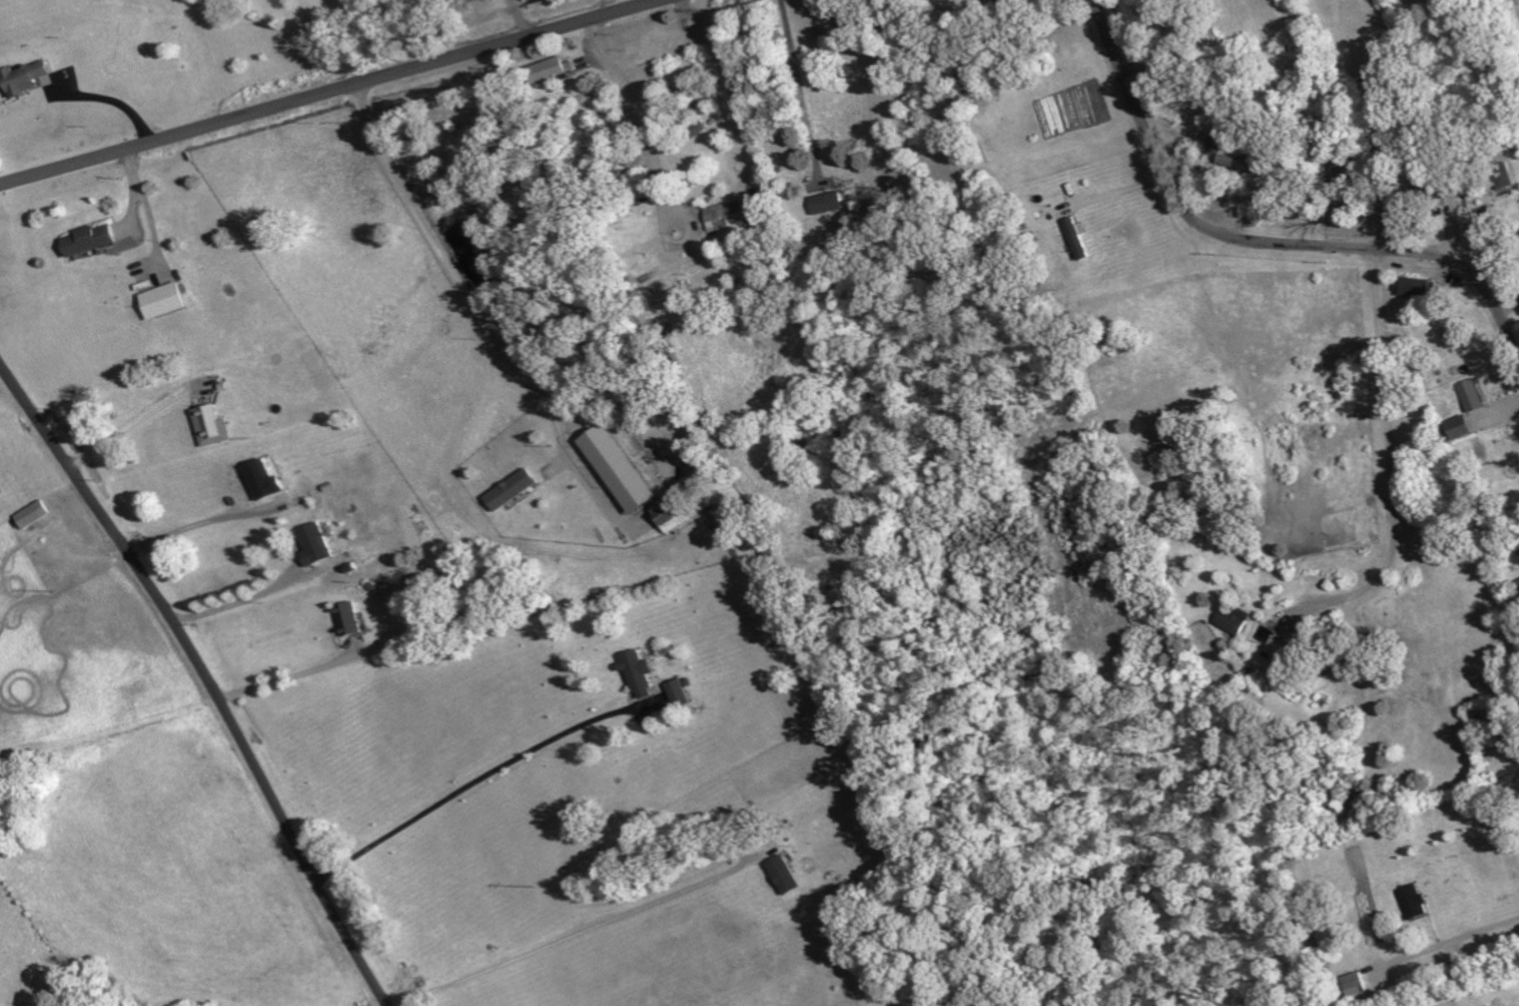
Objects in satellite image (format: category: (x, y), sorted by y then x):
building: (1000, 1)
building: (549, 70)
building: (25, 78)
road: (797, 79)
road: (331, 92)
building: (695, 131)
building: (1235, 160)
building: (828, 202)
building: (724, 213)
building: (90, 239)
road: (1262, 243)
road: (453, 270)
building: (163, 300)
road: (741, 370)
building: (1469, 395)
building: (213, 425)
building: (1458, 427)
road: (128, 428)
road: (1386, 472)
building: (264, 479)
building: (630, 484)
building: (511, 489)
building: (669, 513)
building: (33, 514)
road: (186, 528)
road: (112, 531)
building: (315, 544)
road: (229, 603)
building: (349, 618)
building: (1234, 619)
building: (638, 673)
road: (283, 678)
building: (678, 693)
road: (211, 701)
road: (474, 781)
road: (300, 853)
building: (784, 875)
building: (1414, 901)
road: (572, 936)
road: (1444, 947)
building: (1356, 985)

